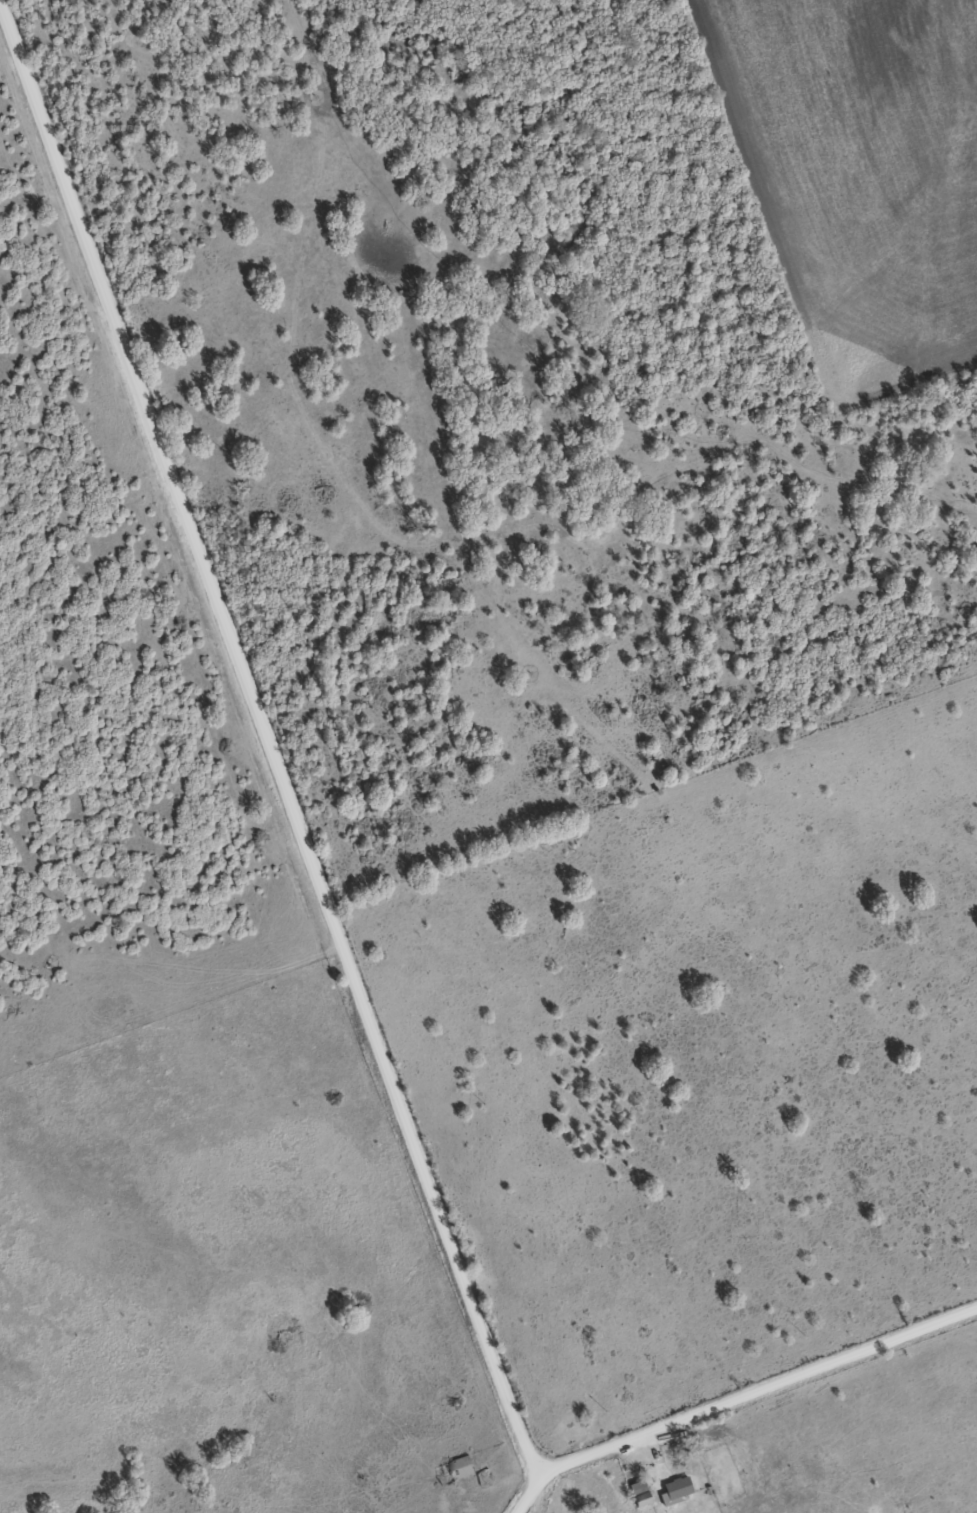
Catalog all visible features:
road: (273, 771)
road: (755, 1386)
road: (752, 1450)
building: (451, 1469)
building: (675, 1489)
road: (521, 1493)
building: (637, 1493)

